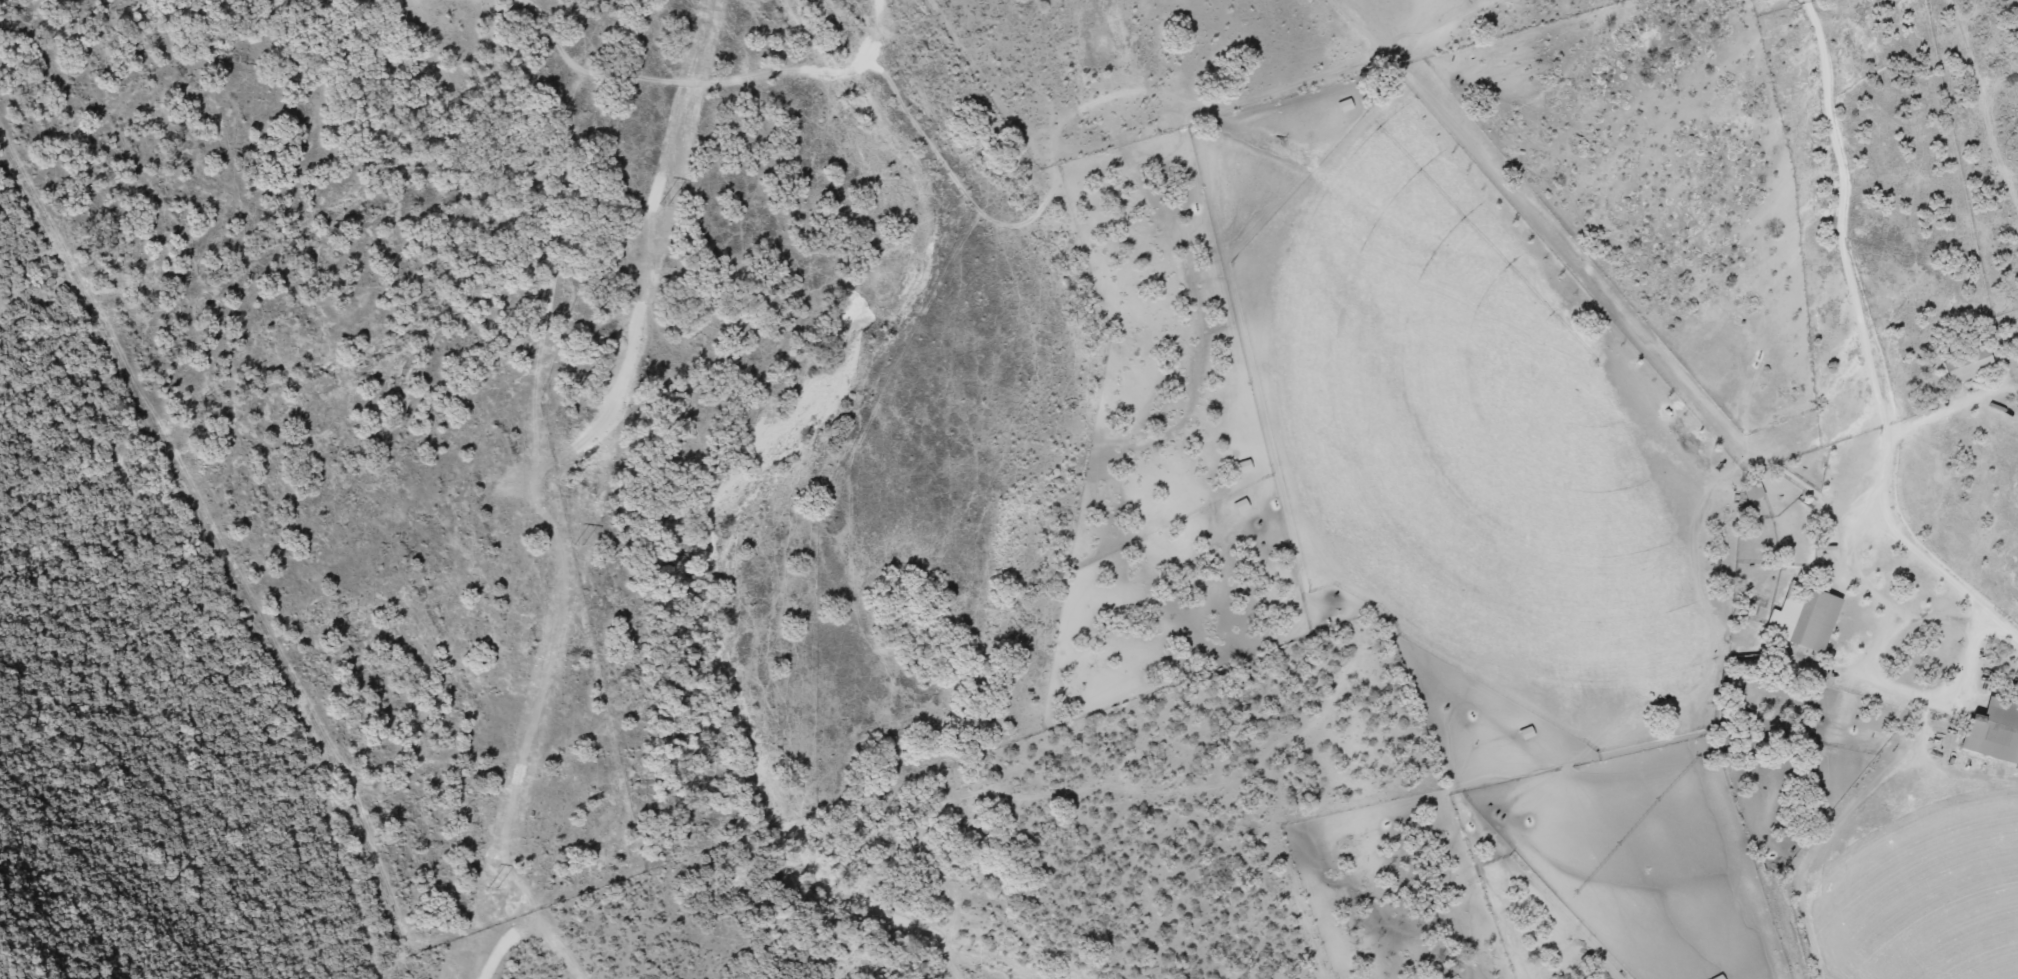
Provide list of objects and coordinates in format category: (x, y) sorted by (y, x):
road: (648, 116)
power tower: (660, 205)
road: (1644, 350)
building: (1964, 364)
building: (1750, 491)
power tower: (574, 547)
building: (1801, 617)
building: (1994, 725)
power tower: (489, 889)
road: (537, 914)

